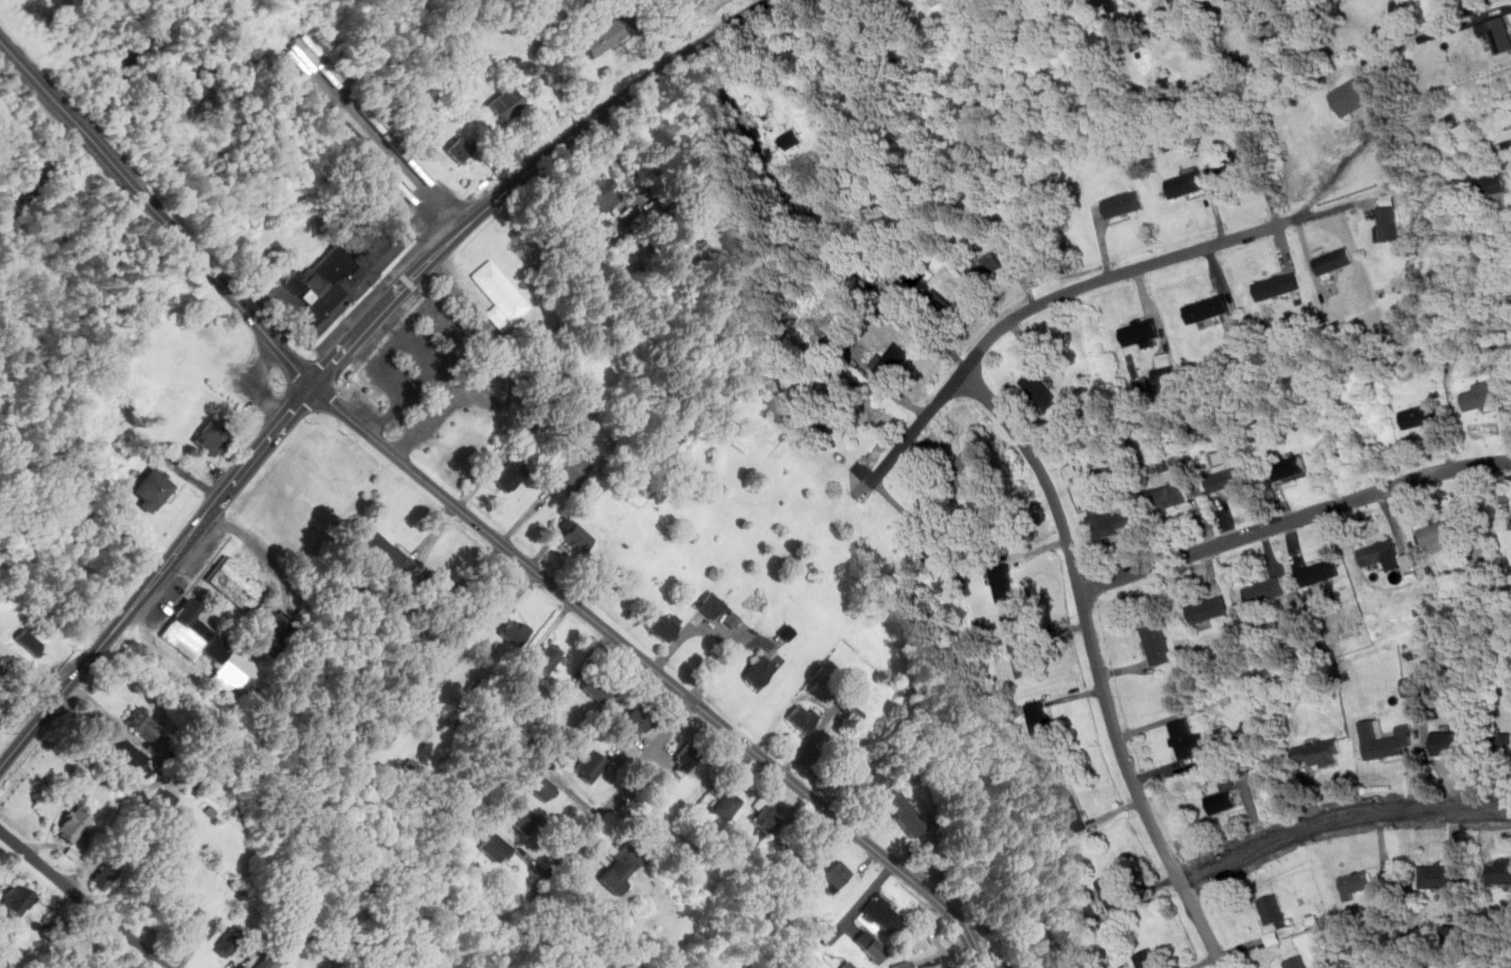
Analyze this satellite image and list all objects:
road: (602, 2)
building: (1176, 2)
building: (1108, 4)
road: (645, 32)
building: (1500, 33)
building: (602, 36)
building: (300, 54)
building: (1358, 94)
building: (505, 103)
road: (577, 132)
building: (792, 138)
building: (1506, 138)
building: (461, 150)
road: (619, 164)
road: (1510, 164)
building: (1245, 165)
building: (1495, 182)
building: (1187, 184)
building: (604, 193)
road: (432, 196)
building: (1124, 203)
road: (1308, 208)
road: (1298, 216)
building: (1390, 223)
building: (1335, 261)
building: (988, 266)
building: (340, 280)
building: (1280, 286)
road: (364, 288)
road: (1047, 300)
building: (1208, 308)
building: (936, 310)
road: (442, 321)
building: (1140, 331)
road: (356, 337)
road: (389, 348)
road: (418, 352)
building: (893, 361)
building: (1165, 369)
road: (396, 385)
traffic signals: (314, 386)
building: (1042, 390)
building: (1482, 393)
road: (441, 405)
building: (1421, 414)
building: (212, 436)
road: (250, 462)
building: (1227, 462)
building: (968, 465)
building: (1180, 465)
building: (1292, 467)
building: (1071, 470)
building: (573, 473)
building: (511, 474)
building: (1232, 477)
building: (153, 488)
building: (1173, 495)
building: (928, 512)
road: (1294, 518)
building: (1112, 519)
road: (475, 520)
building: (1439, 534)
building: (578, 537)
building: (387, 552)
building: (1385, 554)
building: (1320, 571)
building: (237, 583)
building: (435, 583)
building: (1004, 584)
building: (1266, 590)
building: (1209, 608)
building: (718, 609)
building: (1013, 616)
building: (666, 626)
road: (691, 630)
building: (515, 632)
building: (276, 633)
building: (31, 642)
building: (1157, 644)
road: (468, 648)
building: (212, 650)
road: (93, 654)
building: (1023, 657)
building: (549, 658)
road: (722, 663)
road: (1098, 666)
building: (761, 671)
building: (599, 685)
building: (1412, 686)
building: (849, 708)
building: (802, 715)
building: (639, 717)
building: (1040, 718)
building: (144, 727)
building: (384, 733)
building: (1184, 737)
building: (1385, 739)
building: (1506, 742)
building: (1453, 743)
building: (129, 752)
building: (1321, 752)
building: (686, 757)
building: (591, 764)
building: (413, 772)
road: (162, 781)
building: (874, 784)
building: (540, 786)
road: (617, 795)
building: (1225, 797)
building: (165, 799)
building: (728, 804)
building: (1068, 807)
building: (905, 814)
building: (522, 817)
road: (1339, 817)
building: (768, 818)
building: (75, 824)
building: (496, 847)
building: (980, 857)
building: (808, 859)
building: (621, 867)
building: (1500, 873)
building: (835, 876)
building: (102, 877)
building: (1440, 877)
building: (1356, 883)
building: (1113, 892)
building: (18, 898)
road: (83, 898)
building: (1272, 911)
building: (884, 913)
building: (198, 924)
building: (1029, 927)
building: (1456, 932)
building: (831, 933)
building: (229, 941)
building: (917, 941)
building: (871, 945)
building: (1147, 959)
building: (268, 961)
building: (1296, 963)
building: (846, 964)
building: (904, 964)
building: (933, 965)
building: (1425, 966)

